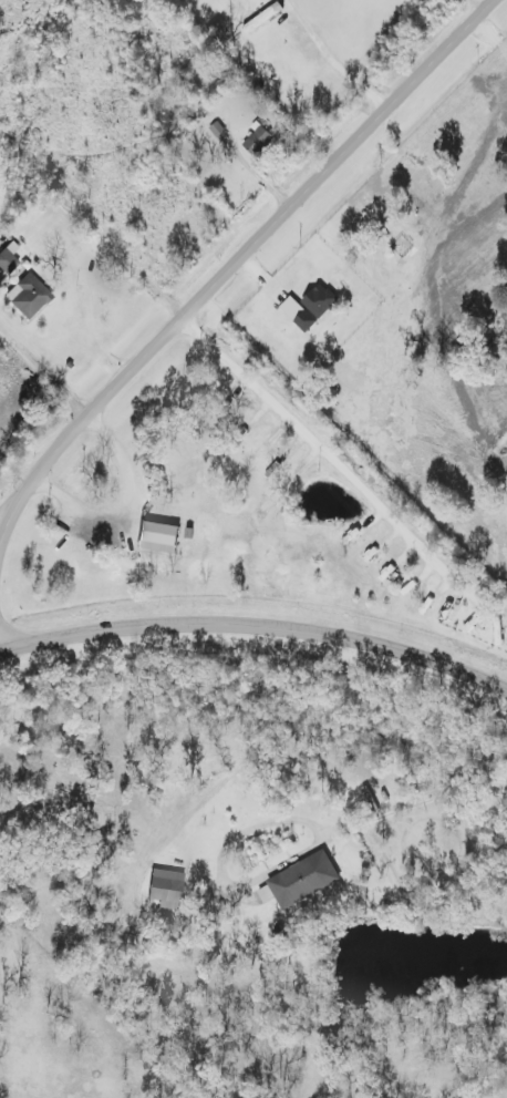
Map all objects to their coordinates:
building: (261, 19)
building: (216, 130)
building: (257, 142)
road: (242, 259)
building: (6, 263)
building: (27, 297)
road: (46, 376)
building: (157, 538)
road: (257, 624)
road: (415, 804)
road: (220, 866)
building: (303, 879)
building: (165, 891)

